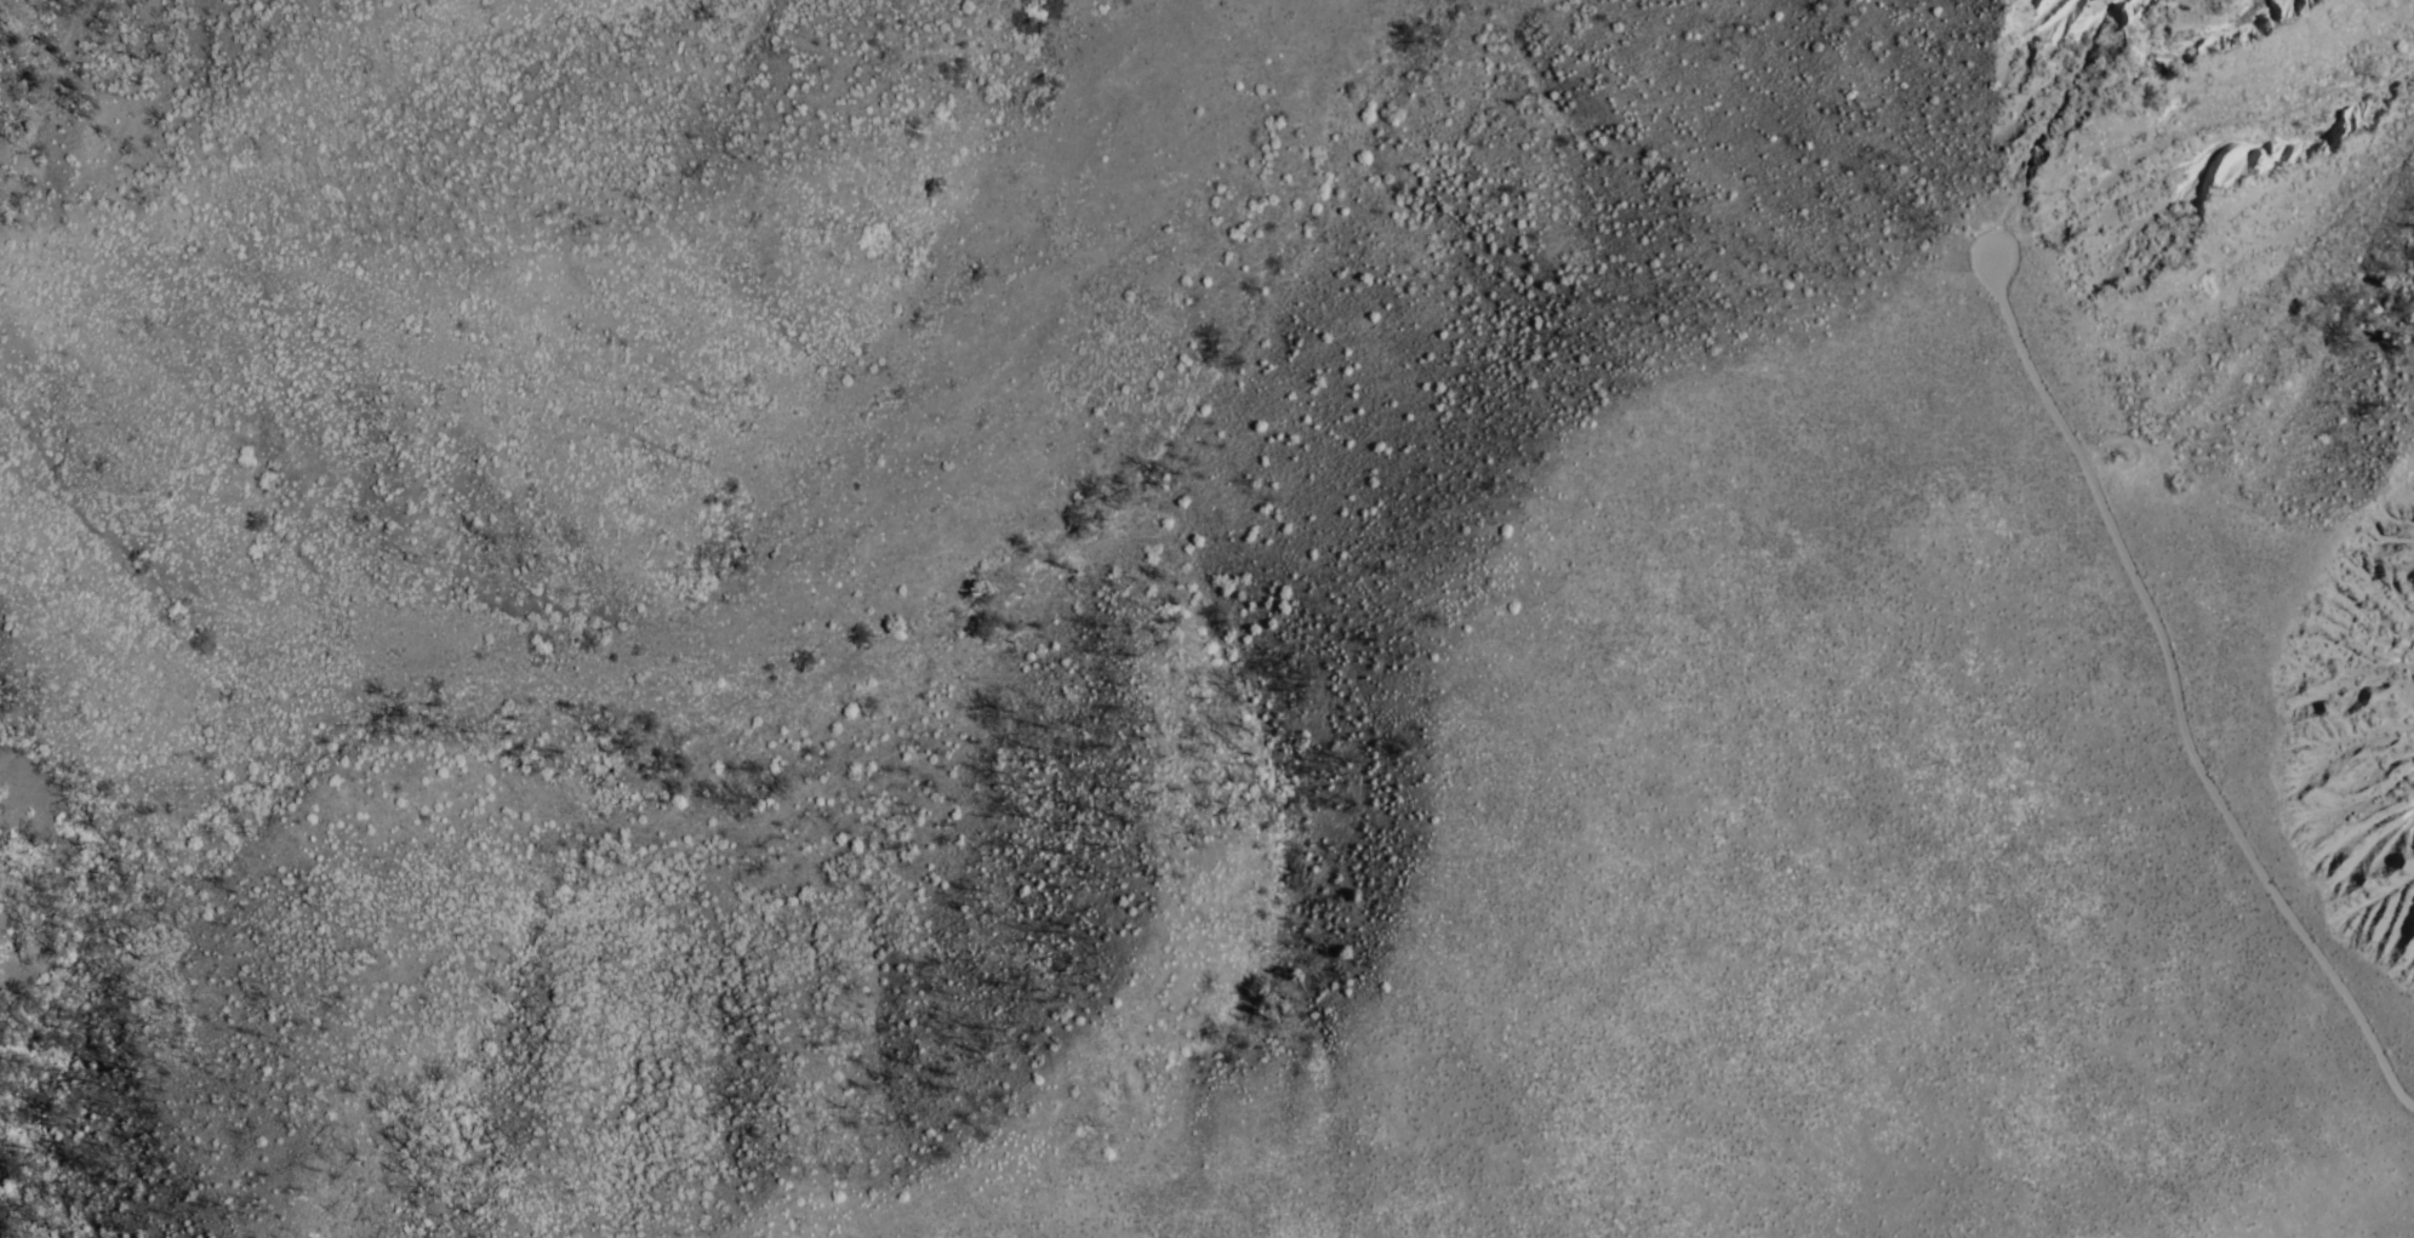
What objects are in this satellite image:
road: (1993, 243)
road: (2179, 713)

